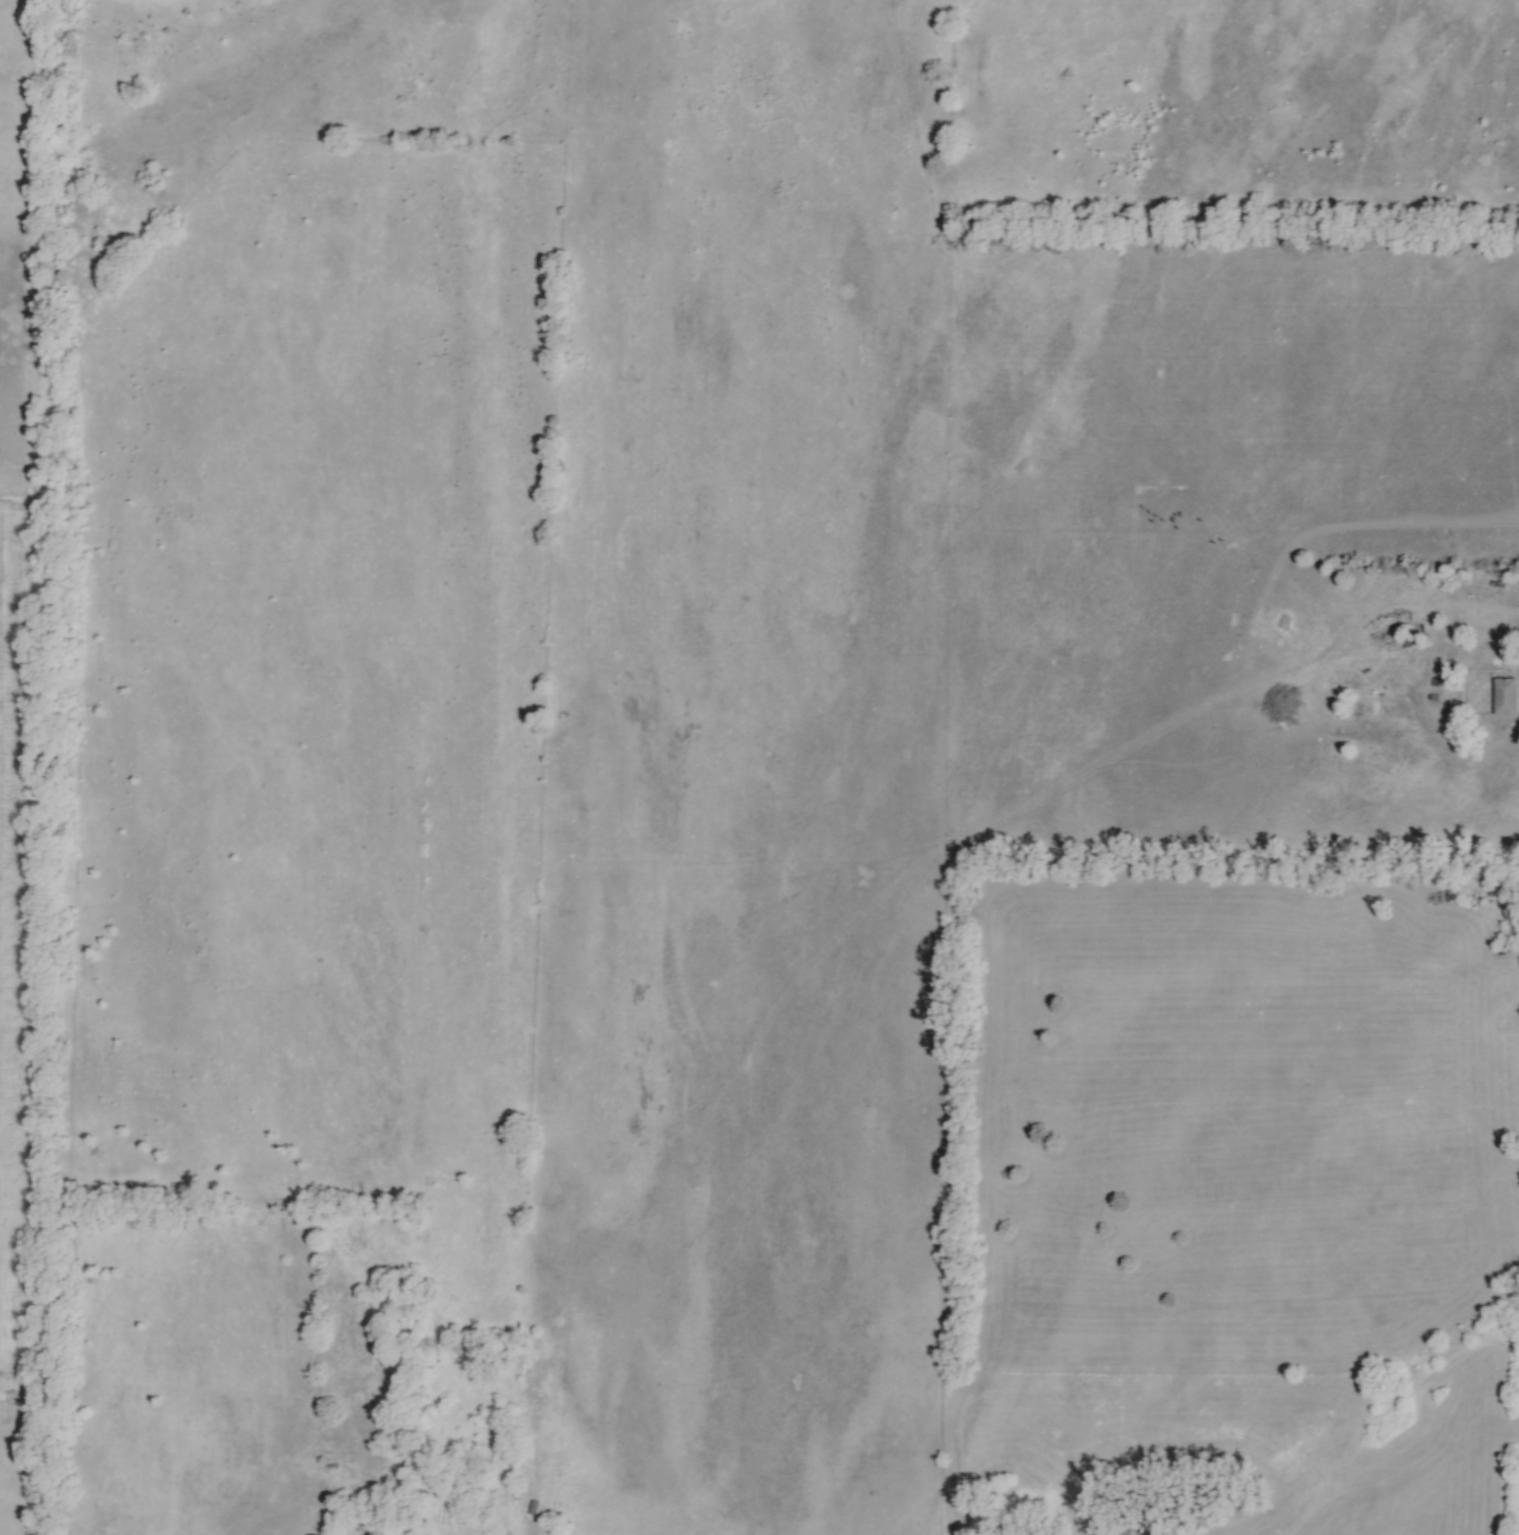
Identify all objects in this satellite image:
building: (1378, 641)
building: (1409, 643)
building: (1507, 696)

